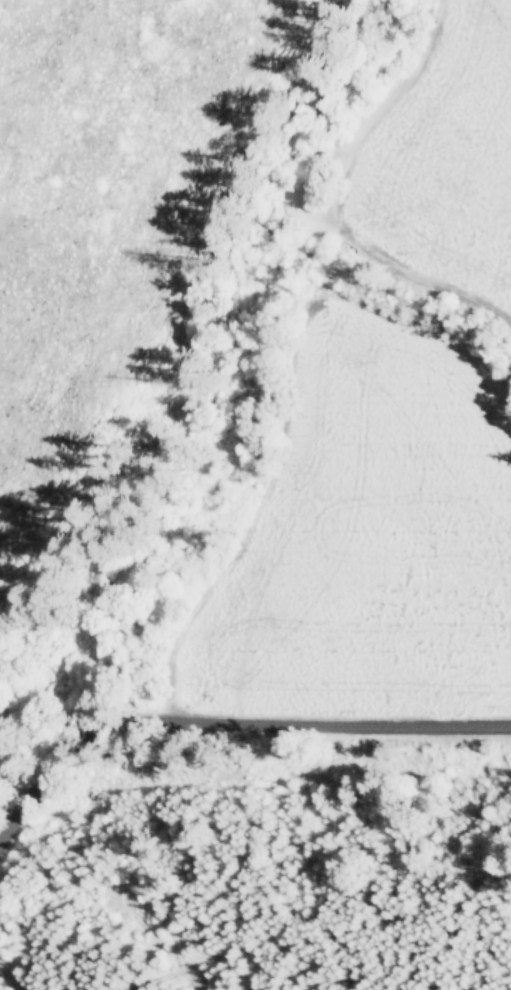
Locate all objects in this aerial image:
road: (231, 720)

